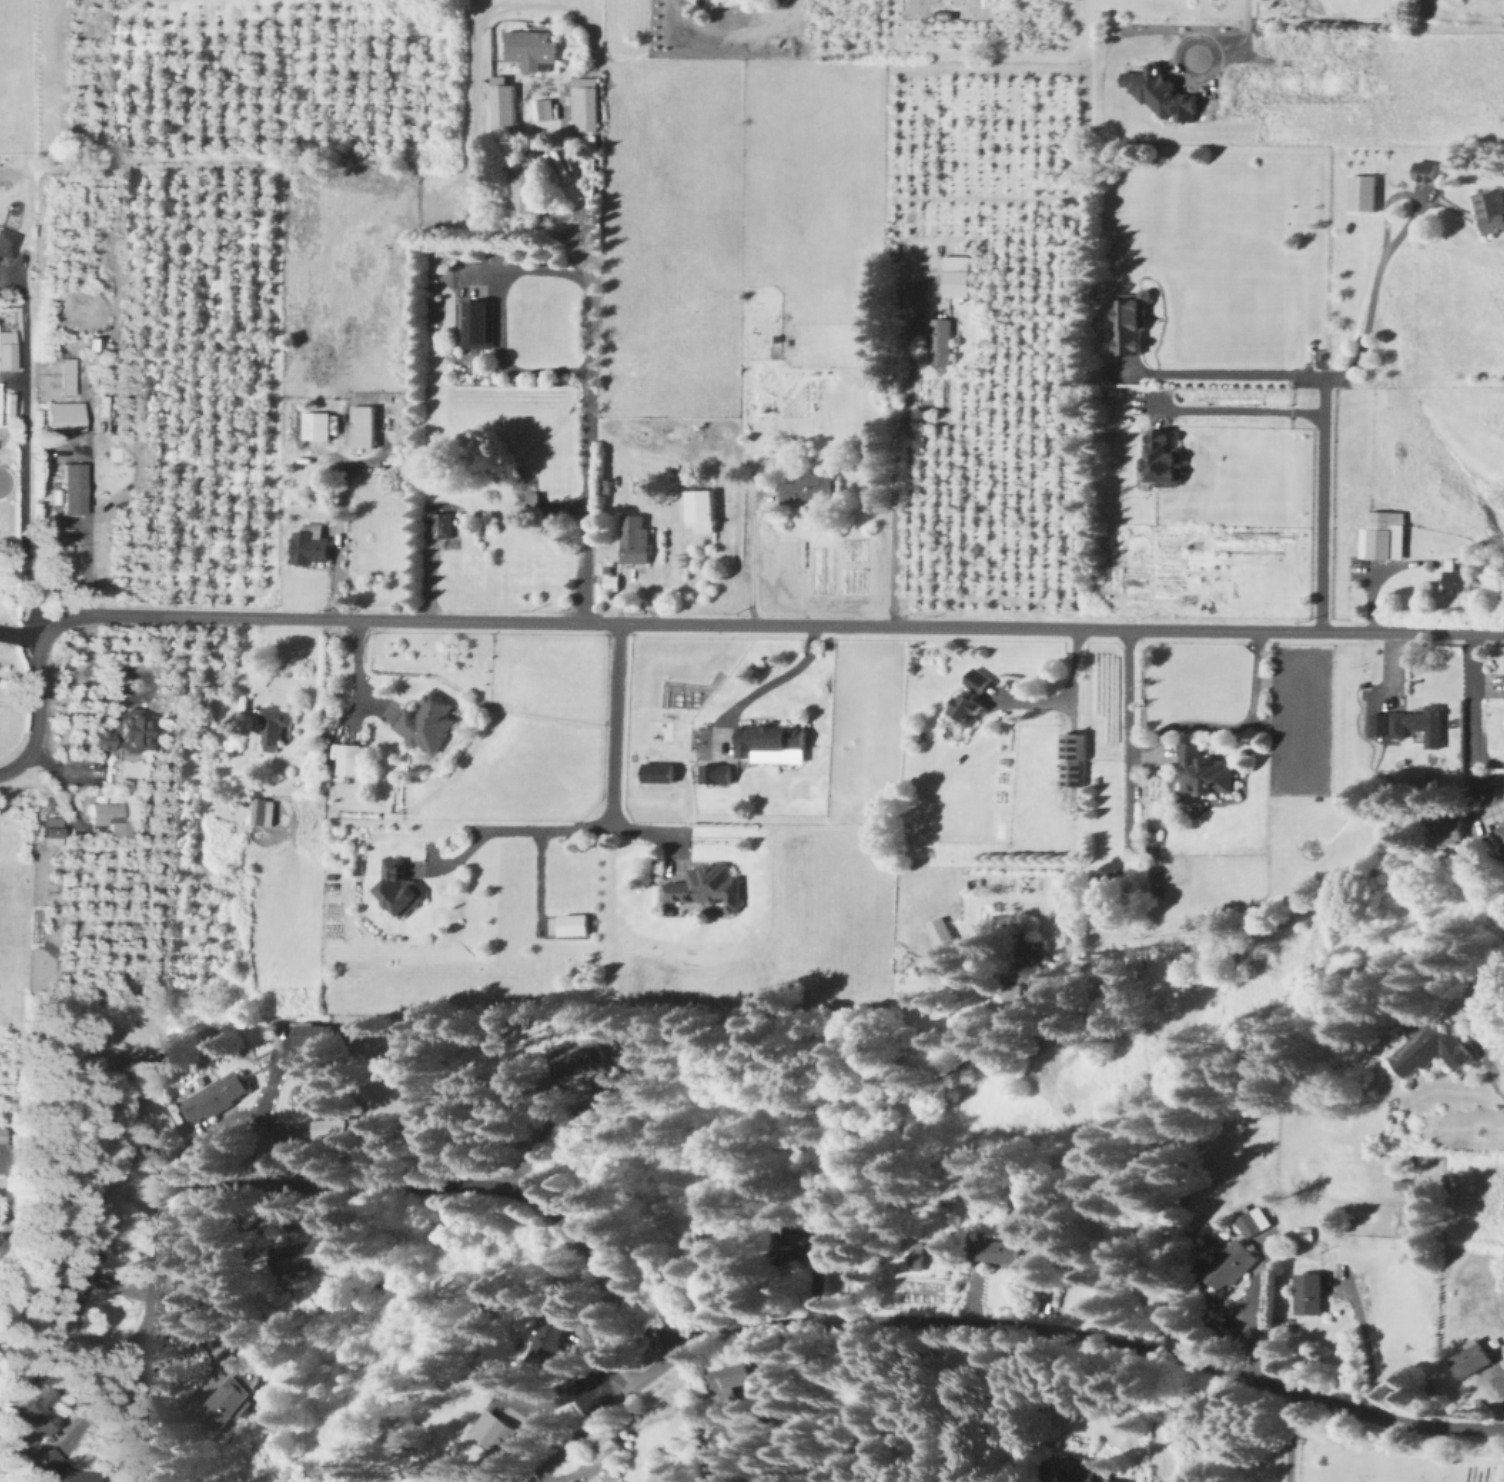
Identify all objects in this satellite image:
road: (1236, 39)
building: (531, 47)
building: (1164, 92)
building: (503, 102)
building: (585, 103)
building: (541, 108)
building: (557, 163)
building: (1428, 170)
building: (527, 186)
building: (1364, 192)
building: (1491, 209)
building: (8, 242)
building: (959, 275)
road: (1374, 290)
building: (479, 323)
road: (491, 324)
building: (1132, 327)
building: (941, 340)
road: (578, 341)
building: (8, 349)
building: (69, 375)
road: (1234, 375)
building: (9, 404)
road: (1243, 412)
building: (67, 415)
building: (320, 424)
building: (364, 425)
road: (28, 450)
building: (1167, 458)
road: (886, 460)
building: (77, 487)
building: (811, 494)
building: (531, 499)
road: (1323, 504)
road: (90, 510)
building: (701, 510)
building: (443, 524)
building: (1385, 534)
building: (635, 539)
road: (14, 543)
building: (312, 543)
road: (752, 560)
road: (328, 564)
road: (425, 566)
building: (1460, 578)
building: (612, 581)
road: (692, 624)
road: (20, 637)
road: (256, 673)
road: (349, 675)
road: (773, 679)
building: (973, 697)
road: (1067, 698)
road: (1472, 720)
building: (429, 721)
building: (1412, 722)
building: (274, 725)
road: (1172, 727)
building: (129, 730)
building: (774, 741)
road: (614, 754)
building: (1073, 756)
building: (351, 758)
building: (1207, 769)
building: (662, 770)
building: (719, 771)
building: (263, 810)
building: (112, 816)
road: (521, 828)
building: (53, 830)
building: (1502, 830)
road: (1105, 871)
building: (708, 884)
building: (402, 885)
building: (577, 923)
building: (942, 930)
building: (1016, 990)
building: (315, 1033)
building: (1432, 1049)
building: (592, 1058)
road: (1497, 1092)
building: (216, 1095)
road: (544, 1125)
building: (342, 1127)
building: (3, 1148)
building: (1407, 1182)
building: (1256, 1220)
building: (1001, 1249)
building: (306, 1252)
building: (1231, 1263)
road: (162, 1279)
building: (1312, 1292)
road: (823, 1323)
road: (1251, 1324)
building: (551, 1341)
road: (1367, 1346)
building: (1473, 1358)
building: (725, 1381)
road: (206, 1385)
building: (221, 1402)
road: (600, 1413)
building: (40, 1414)
building: (497, 1430)
road: (1290, 1437)
building: (65, 1467)
building: (1110, 1480)

